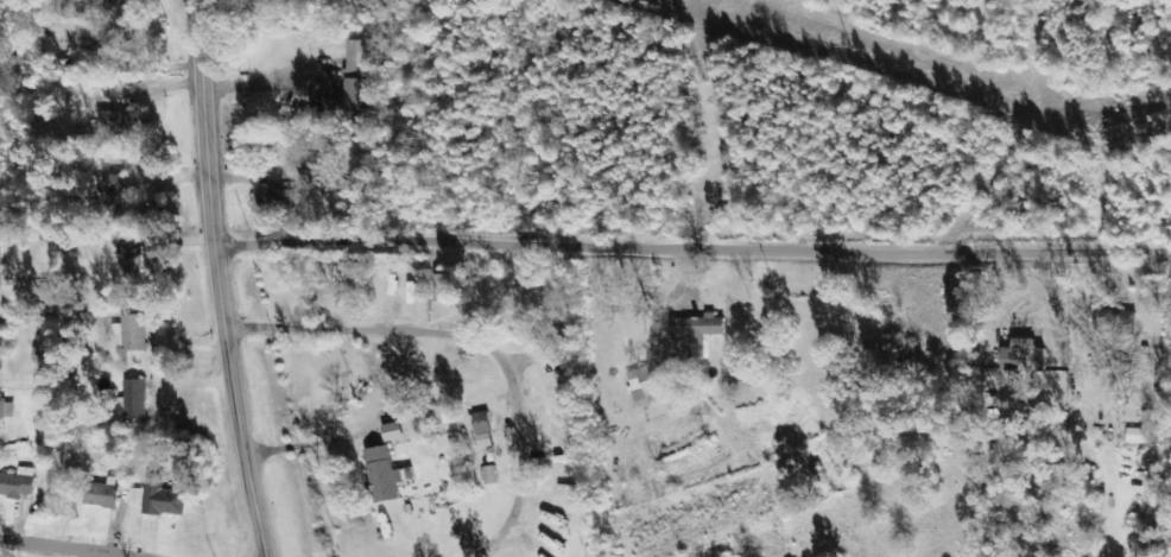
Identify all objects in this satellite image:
building: (84, 6)
building: (90, 43)
building: (363, 77)
building: (114, 122)
power tower: (1107, 129)
building: (114, 198)
building: (271, 203)
road: (685, 249)
building: (127, 257)
building: (2, 276)
road: (204, 280)
building: (441, 287)
building: (1114, 323)
building: (698, 331)
building: (132, 333)
building: (5, 338)
building: (890, 346)
building: (40, 355)
building: (1023, 357)
building: (42, 378)
building: (644, 385)
building: (135, 401)
building: (6, 410)
building: (445, 417)
building: (482, 430)
building: (392, 432)
building: (1140, 437)
building: (563, 460)
building: (384, 474)
building: (489, 475)
building: (17, 483)
building: (100, 495)
building: (163, 500)
road: (63, 547)

